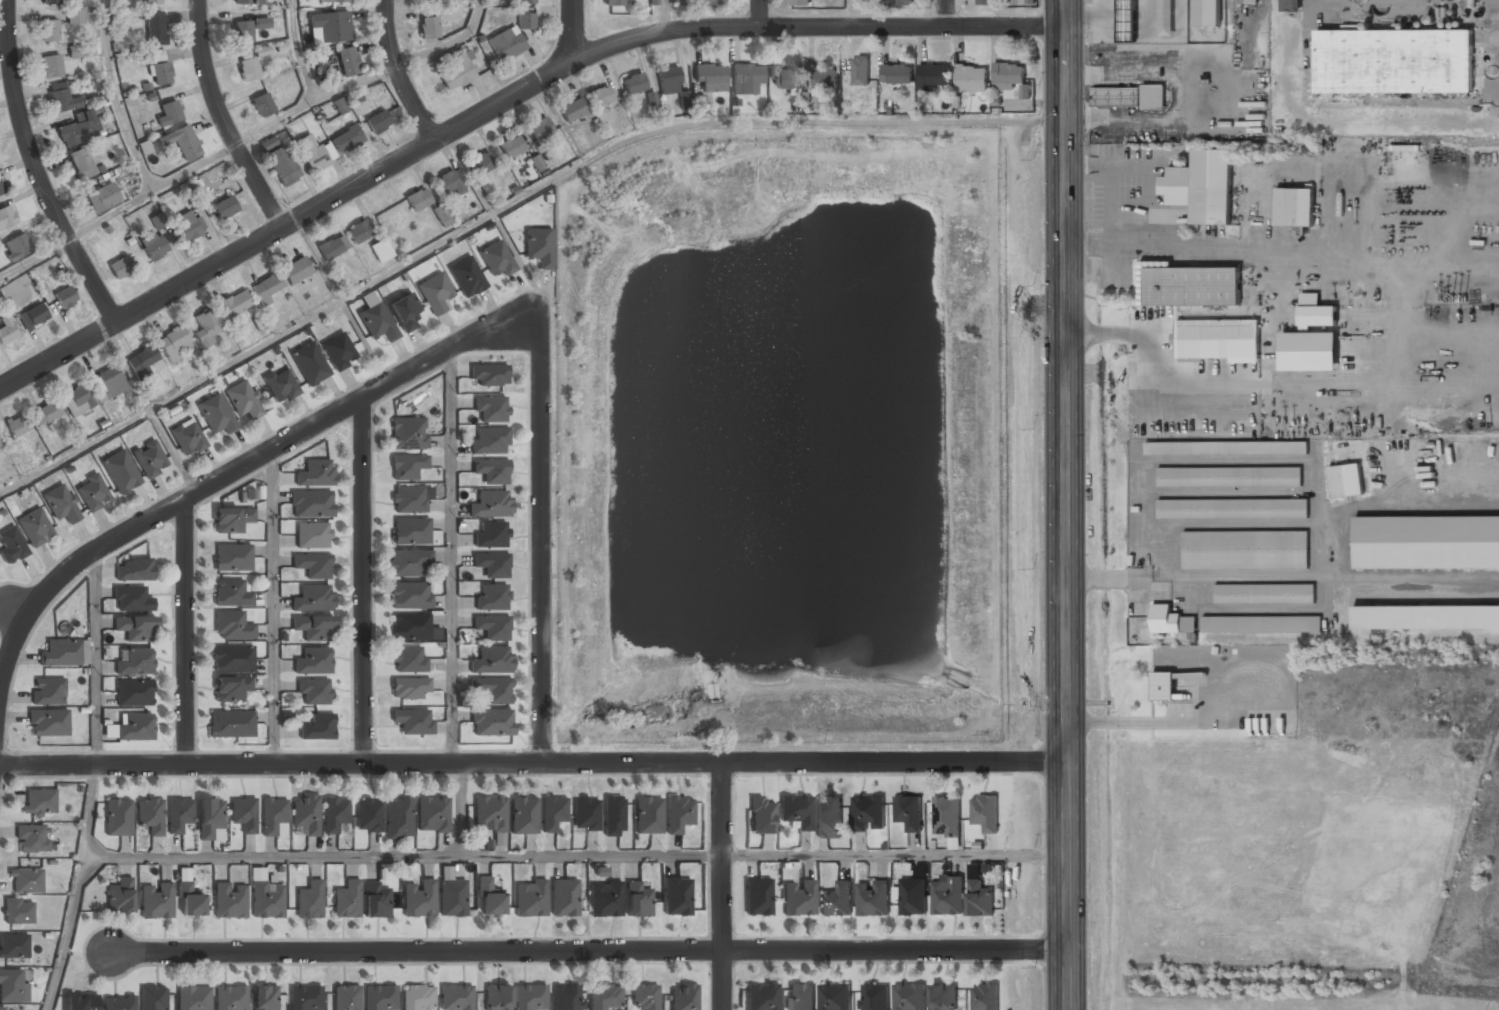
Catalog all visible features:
building: (429, 0)
building: (334, 1)
building: (527, 1)
building: (986, 1)
building: (1248, 1)
building: (50, 2)
building: (152, 2)
building: (249, 2)
building: (678, 2)
building: (709, 2)
building: (800, 2)
building: (899, 2)
building: (613, 3)
building: (1291, 5)
building: (1207, 12)
road: (851, 13)
road: (946, 13)
road: (759, 14)
building: (75, 16)
road: (660, 16)
building: (526, 20)
building: (1127, 21)
building: (261, 23)
building: (429, 26)
building: (329, 27)
building: (155, 28)
road: (571, 30)
building: (49, 31)
building: (243, 32)
building: (506, 44)
road: (298, 49)
building: (76, 51)
building: (347, 61)
building: (1394, 61)
building: (52, 67)
building: (160, 68)
building: (249, 68)
building: (458, 69)
building: (861, 70)
building: (897, 73)
road: (397, 74)
building: (934, 75)
building: (1010, 77)
building: (710, 78)
building: (825, 78)
building: (746, 79)
building: (787, 79)
building: (972, 79)
building: (668, 80)
building: (634, 83)
building: (1026, 91)
building: (600, 96)
building: (1128, 96)
building: (61, 98)
road: (116, 98)
road: (501, 101)
building: (691, 102)
building: (263, 104)
building: (340, 105)
building: (572, 110)
building: (169, 112)
road: (221, 119)
building: (378, 121)
building: (539, 129)
building: (72, 135)
road: (245, 138)
building: (346, 139)
building: (182, 141)
building: (267, 143)
building: (511, 147)
building: (311, 152)
building: (81, 163)
building: (482, 163)
building: (282, 165)
road: (35, 170)
building: (448, 182)
building: (1202, 186)
building: (1, 190)
building: (101, 197)
building: (418, 199)
building: (1294, 206)
building: (225, 207)
road: (504, 207)
building: (442, 215)
building: (7, 217)
building: (186, 226)
building: (359, 231)
building: (153, 245)
building: (16, 246)
building: (332, 247)
building: (538, 247)
building: (381, 250)
building: (496, 259)
building: (120, 266)
building: (296, 270)
building: (466, 277)
building: (266, 288)
building: (435, 292)
building: (65, 296)
building: (235, 304)
building: (405, 312)
building: (1315, 312)
building: (33, 316)
building: (376, 322)
building: (207, 327)
building: (7, 331)
building: (1219, 339)
building: (175, 345)
building: (339, 352)
building: (142, 361)
building: (310, 364)
building: (489, 375)
building: (110, 382)
building: (281, 385)
building: (77, 400)
building: (244, 400)
building: (491, 409)
building: (46, 413)
building: (216, 414)
building: (18, 424)
building: (408, 432)
building: (188, 438)
building: (489, 440)
building: (1227, 447)
building: (150, 459)
building: (407, 466)
building: (491, 470)
building: (121, 472)
building: (315, 473)
road: (226, 475)
building: (1230, 476)
building: (1346, 480)
building: (92, 493)
building: (409, 500)
building: (311, 503)
building: (61, 504)
building: (491, 504)
road: (1066, 504)
building: (1233, 508)
building: (231, 520)
building: (35, 528)
building: (411, 531)
road: (540, 531)
building: (312, 535)
building: (491, 535)
building: (1427, 542)
building: (11, 546)
building: (1246, 549)
road: (451, 556)
building: (233, 558)
building: (408, 563)
building: (313, 565)
building: (492, 565)
building: (135, 569)
road: (362, 582)
building: (231, 593)
building: (1265, 593)
building: (410, 596)
building: (492, 597)
building: (132, 598)
building: (313, 598)
road: (273, 608)
building: (1425, 617)
building: (1173, 621)
building: (1262, 624)
building: (232, 627)
building: (410, 627)
building: (492, 627)
building: (136, 628)
building: (313, 628)
road: (185, 632)
building: (59, 653)
road: (94, 659)
building: (232, 660)
building: (408, 660)
building: (491, 660)
building: (314, 661)
building: (136, 663)
building: (1163, 685)
building: (230, 689)
building: (409, 689)
building: (491, 689)
building: (48, 692)
building: (314, 692)
building: (134, 694)
building: (412, 721)
building: (48, 723)
building: (491, 723)
building: (230, 725)
building: (132, 728)
building: (317, 728)
road: (533, 764)
building: (39, 802)
building: (796, 811)
building: (552, 812)
building: (867, 812)
building: (908, 812)
building: (985, 812)
building: (305, 813)
building: (334, 813)
building: (585, 813)
building: (678, 813)
building: (272, 814)
building: (178, 815)
building: (243, 815)
building: (368, 815)
building: (432, 815)
building: (489, 815)
building: (150, 816)
building: (523, 816)
building: (613, 816)
building: (647, 816)
building: (761, 816)
building: (947, 816)
building: (118, 817)
building: (829, 817)
building: (209, 818)
building: (398, 818)
building: (32, 839)
road: (894, 852)
road: (403, 855)
building: (975, 871)
building: (26, 881)
road: (721, 886)
road: (76, 889)
building: (119, 895)
building: (676, 895)
building: (947, 895)
building: (757, 896)
building: (912, 896)
building: (452, 898)
building: (530, 898)
building: (564, 898)
building: (798, 898)
building: (873, 898)
building: (418, 899)
building: (489, 899)
building: (605, 899)
building: (980, 899)
building: (267, 900)
building: (309, 900)
building: (346, 900)
building: (636, 900)
building: (837, 900)
building: (229, 901)
building: (376, 901)
building: (156, 902)
building: (189, 902)
building: (18, 912)
building: (13, 947)
road: (589, 952)
building: (13, 986)
building: (604, 996)
building: (644, 996)
building: (985, 996)
building: (264, 997)
building: (496, 997)
building: (530, 997)
building: (566, 997)
building: (683, 997)
building: (761, 997)
building: (801, 997)
building: (835, 997)
building: (874, 997)
building: (910, 997)
building: (944, 997)
building: (152, 998)
building: (193, 998)
building: (231, 998)
building: (305, 998)
building: (345, 998)
building: (380, 998)
building: (417, 998)
building: (455, 998)
building: (81, 1003)
building: (119, 1003)
building: (3, 1009)

